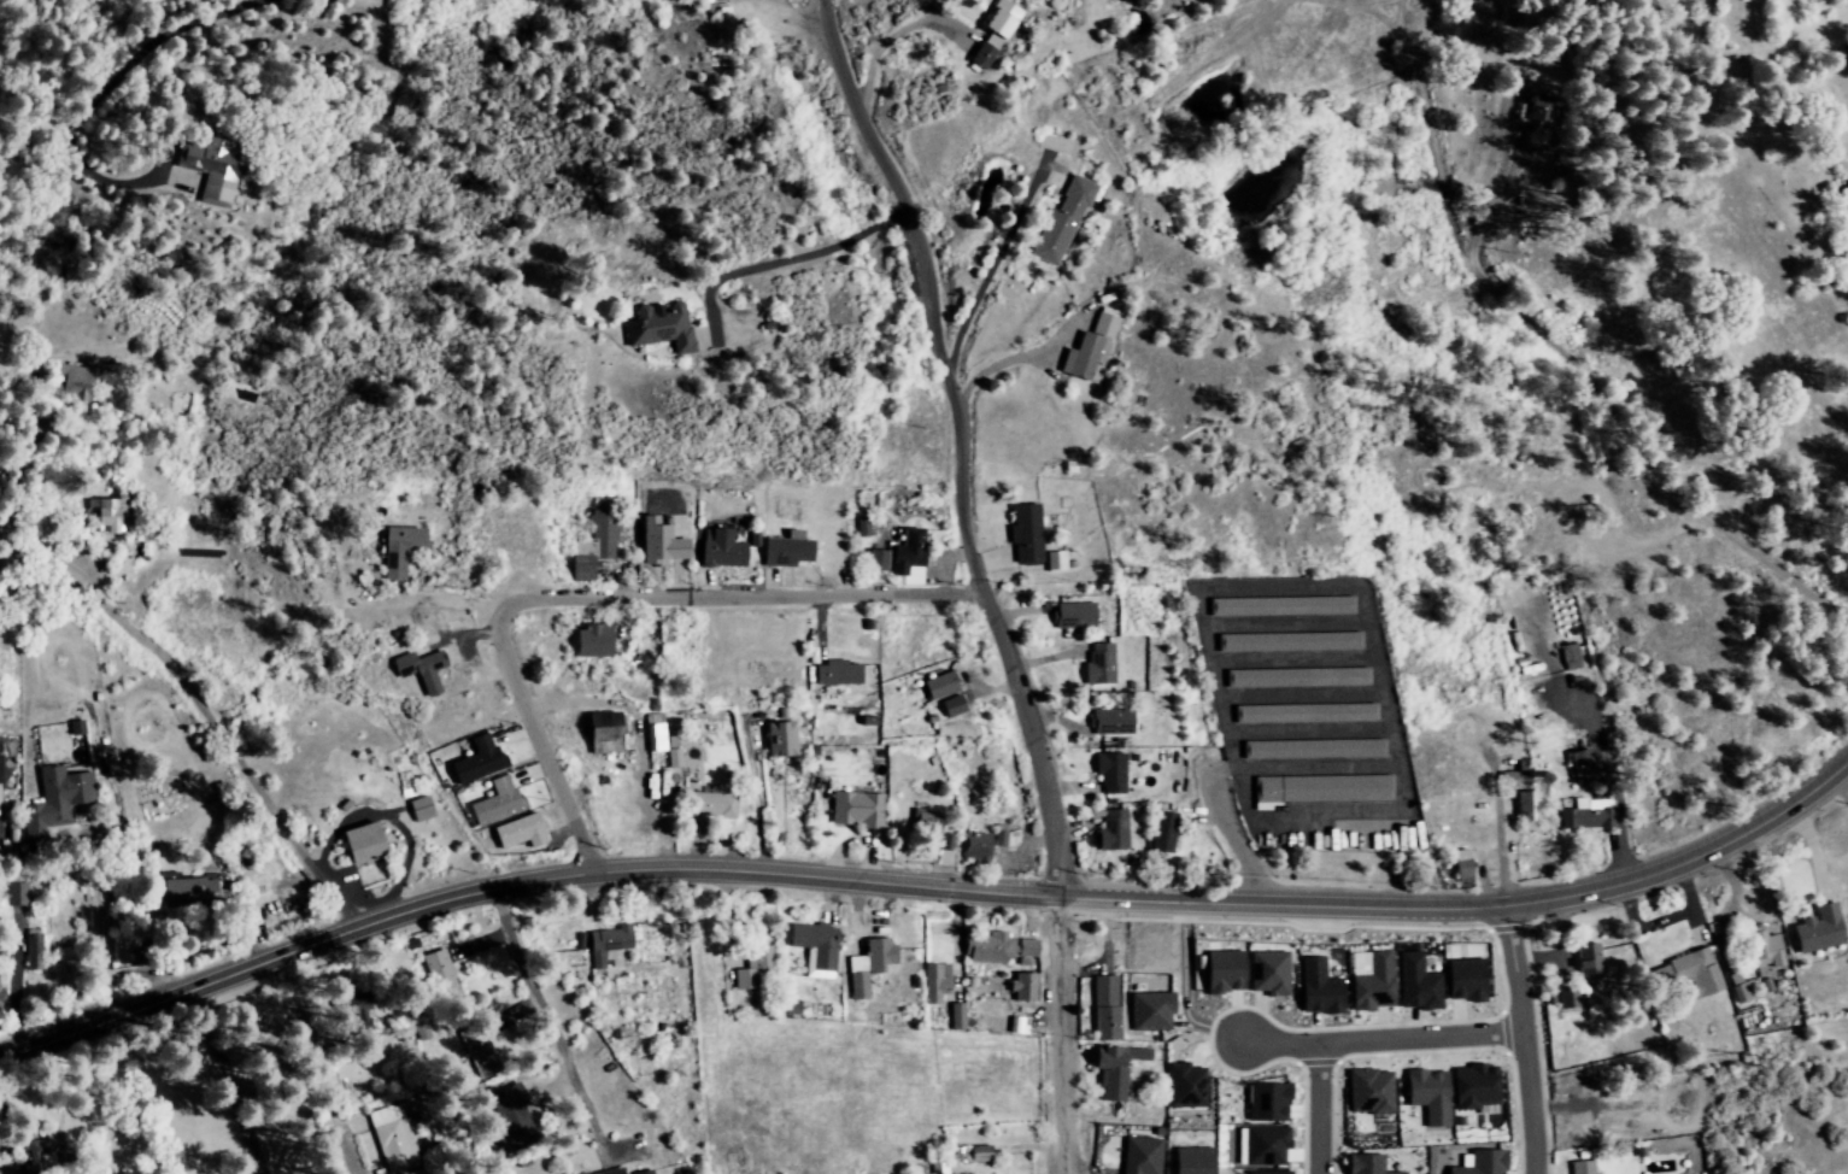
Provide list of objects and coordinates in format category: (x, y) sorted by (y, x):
building: (997, 31)
road: (96, 90)
building: (1538, 107)
building: (212, 166)
building: (1063, 222)
road: (792, 253)
road: (968, 305)
road: (1518, 313)
building: (663, 327)
building: (1091, 348)
road: (997, 362)
building: (75, 381)
road: (958, 441)
building: (110, 513)
building: (1027, 534)
road: (1671, 534)
building: (596, 544)
building: (401, 550)
building: (723, 550)
building: (788, 550)
building: (879, 560)
building: (1057, 562)
road: (1772, 573)
road: (1067, 587)
road: (1339, 587)
road: (739, 595)
building: (1283, 606)
building: (1075, 615)
building: (594, 640)
building: (1290, 641)
building: (1571, 657)
building: (1101, 664)
building: (422, 669)
building: (838, 673)
building: (1298, 677)
building: (940, 686)
building: (1307, 712)
building: (1111, 720)
building: (605, 733)
building: (656, 733)
road: (540, 740)
building: (781, 740)
building: (1314, 749)
road: (230, 756)
building: (1584, 765)
building: (1111, 773)
building: (1324, 788)
building: (68, 792)
building: (498, 802)
building: (710, 804)
building: (422, 809)
building: (855, 810)
building: (1529, 811)
building: (1591, 812)
road: (1496, 820)
building: (927, 824)
building: (1115, 829)
building: (522, 832)
building: (1164, 832)
building: (1001, 835)
building: (948, 841)
building: (364, 844)
building: (978, 847)
building: (1462, 865)
road: (929, 888)
building: (190, 892)
building: (1815, 929)
building: (605, 944)
building: (997, 946)
building: (812, 947)
building: (1764, 950)
building: (1585, 961)
building: (868, 963)
building: (753, 968)
building: (1226, 970)
building: (440, 973)
building: (1269, 973)
building: (1683, 974)
building: (1466, 979)
building: (1742, 979)
building: (1372, 980)
building: (933, 982)
building: (1418, 984)
building: (1021, 987)
building: (1319, 988)
building: (1565, 997)
building: (1102, 1008)
building: (359, 1011)
building: (1150, 1014)
building: (952, 1016)
road: (548, 1019)
road: (1064, 1034)
road: (1525, 1038)
road: (1381, 1039)
building: (480, 1050)
building: (1113, 1069)
building: (1187, 1085)
building: (1371, 1091)
building: (1476, 1092)
building: (1431, 1094)
building: (1268, 1102)
road: (1320, 1108)
building: (515, 1115)
building: (393, 1138)
building: (1263, 1145)
building: (1148, 1149)
building: (976, 1154)
building: (1193, 1160)
building: (1484, 1162)
building: (1372, 1164)
building: (1580, 1167)
building: (937, 1168)
building: (605, 1172)
building: (644, 1172)
building: (1268, 1172)

